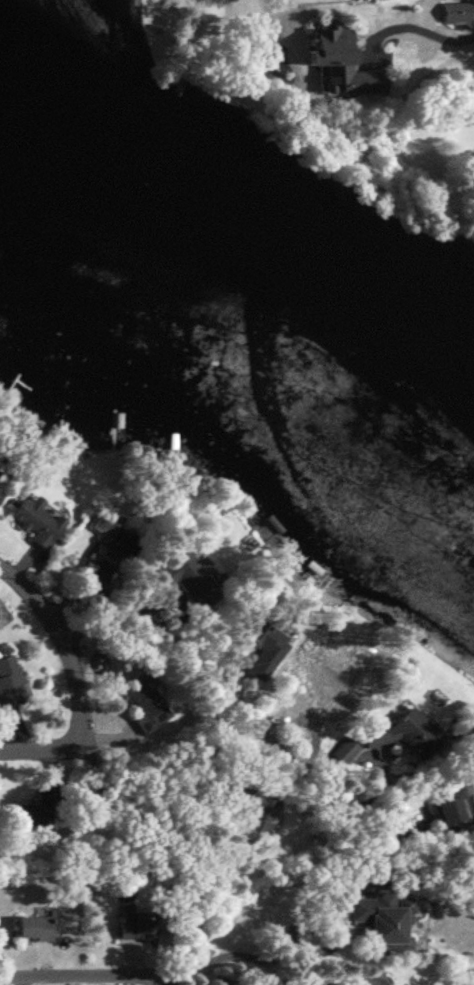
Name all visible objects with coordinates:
building: (455, 11)
road: (397, 34)
building: (338, 61)
river: (237, 286)
building: (0, 489)
building: (33, 520)
building: (104, 548)
building: (187, 580)
building: (259, 641)
road: (72, 667)
road: (195, 667)
building: (321, 681)
building: (10, 683)
building: (143, 694)
building: (402, 734)
road: (11, 750)
building: (344, 751)
building: (261, 803)
road: (322, 805)
building: (36, 812)
building: (450, 812)
building: (383, 923)
building: (134, 926)
building: (31, 929)
road: (248, 957)
road: (84, 973)
road: (167, 980)
road: (272, 983)

